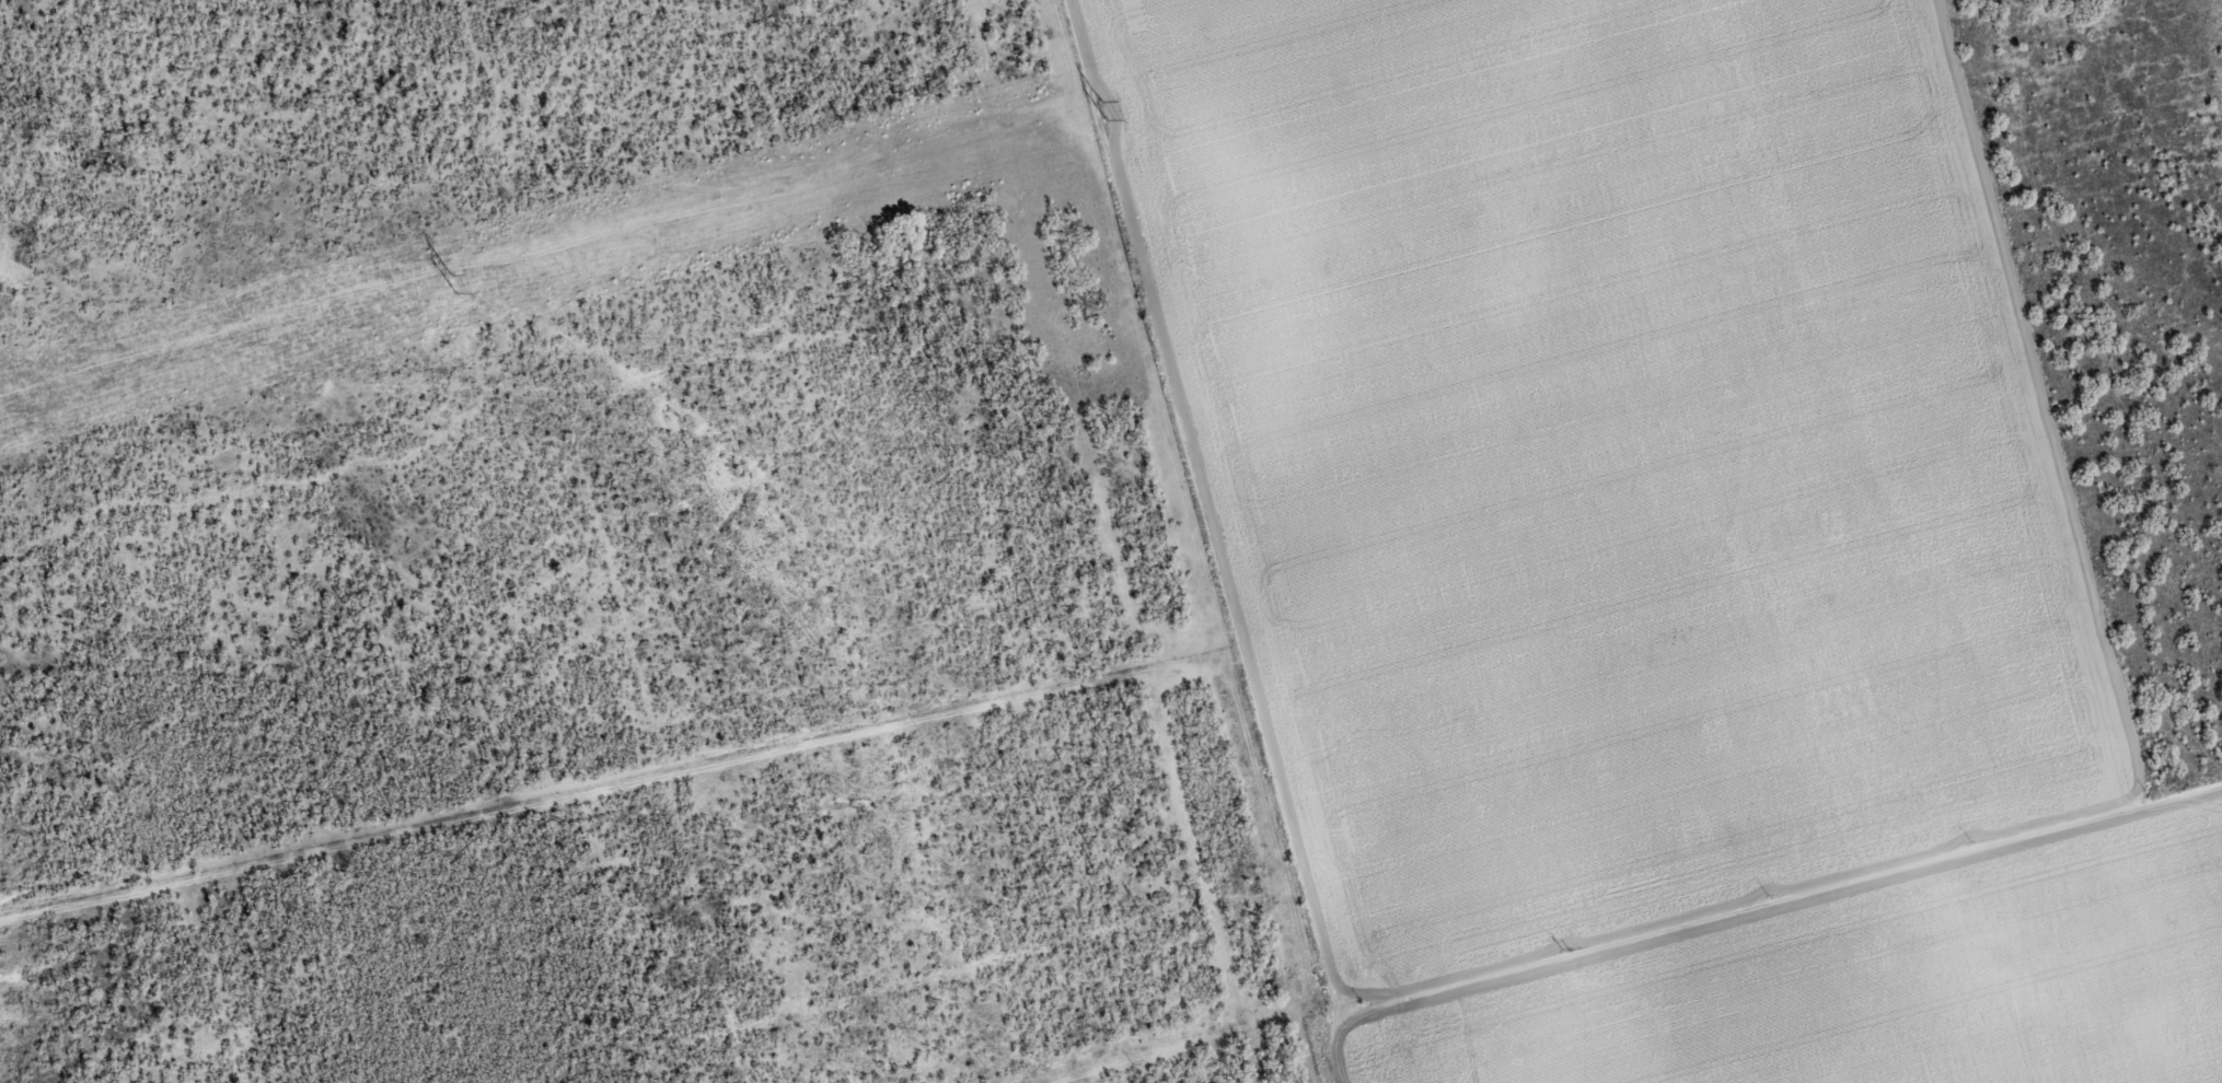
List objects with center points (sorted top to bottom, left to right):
power tower: (1100, 109)
power tower: (452, 282)
road: (1804, 888)

